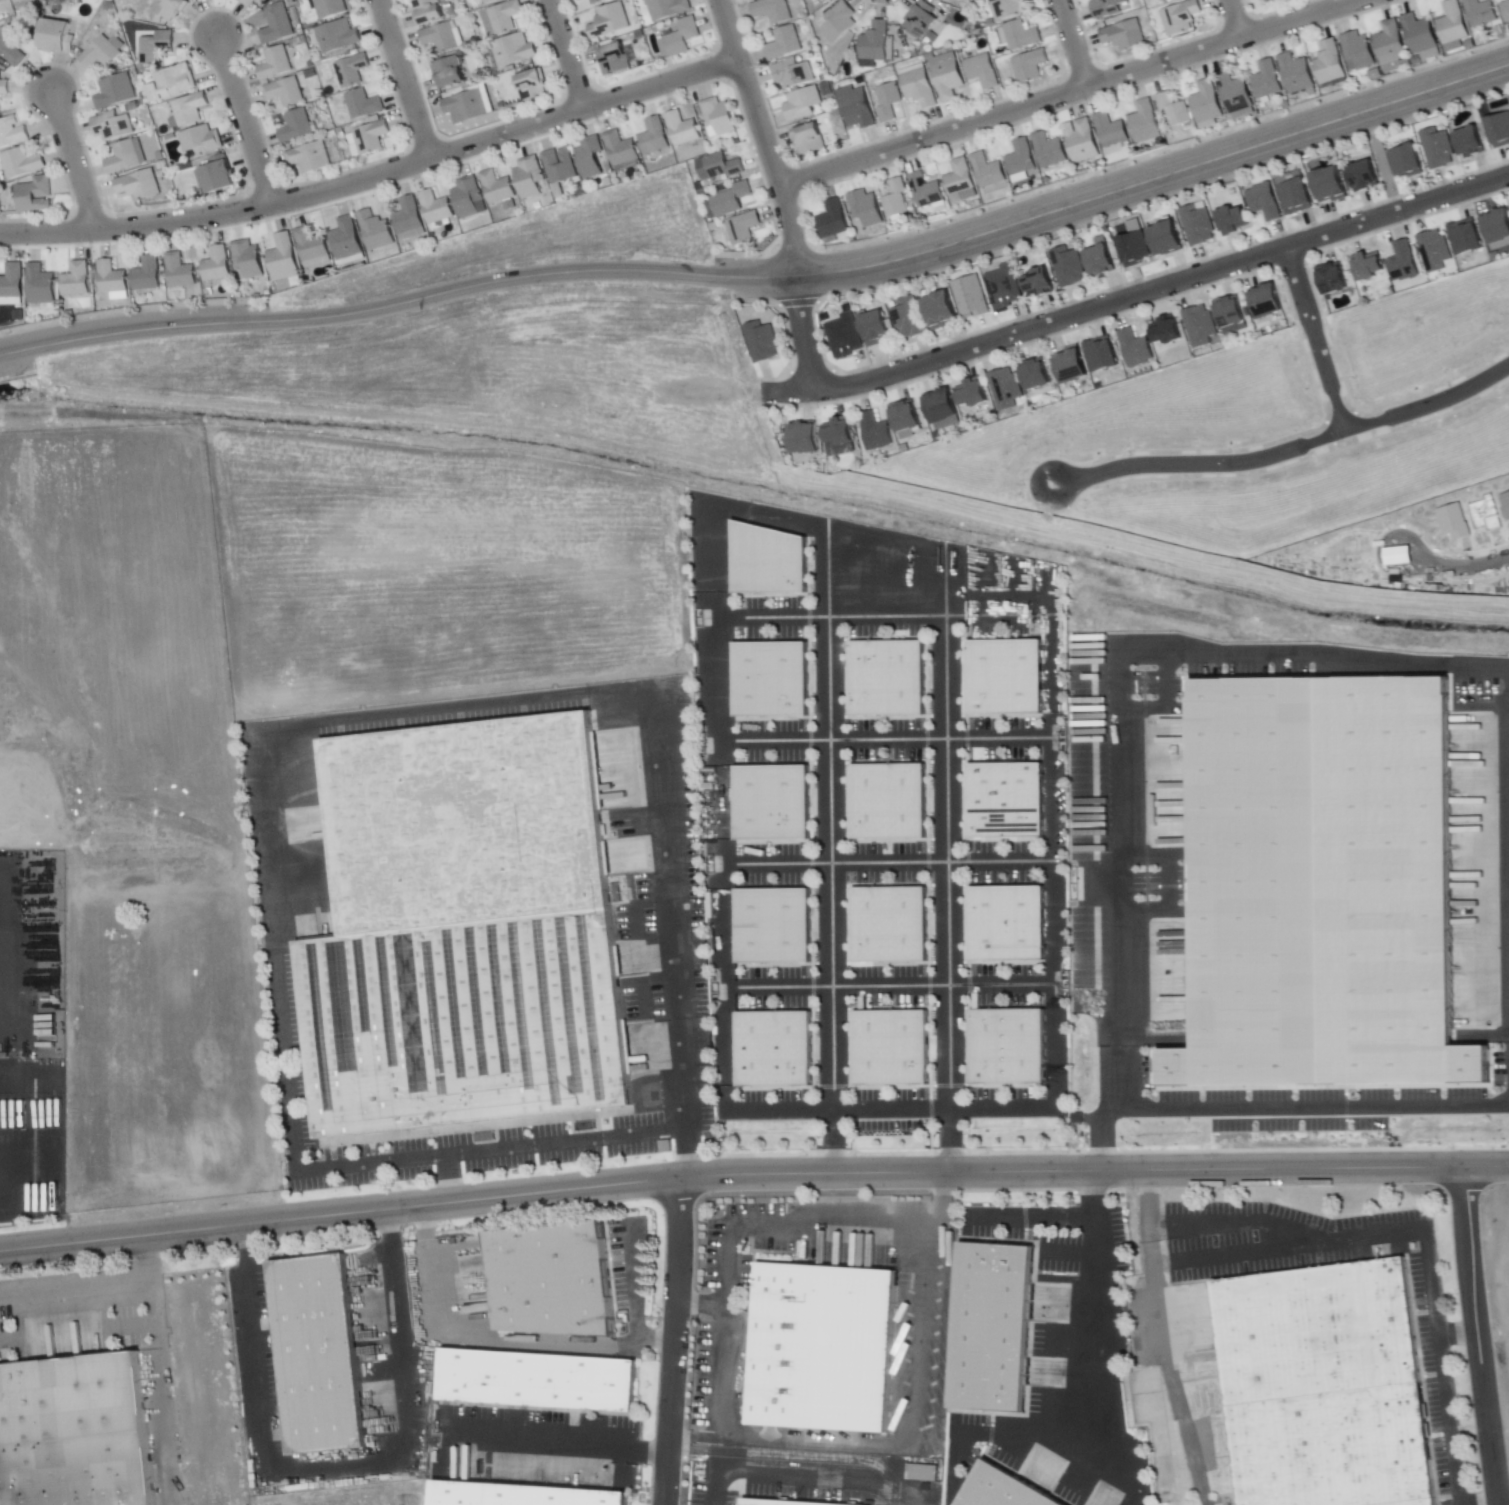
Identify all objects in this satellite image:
building: (810, 0)
building: (1163, 0)
building: (1274, 0)
building: (18, 1)
building: (957, 1)
building: (1168, 1)
building: (1281, 1)
building: (490, 2)
building: (598, 2)
building: (247, 3)
building: (332, 8)
building: (667, 8)
building: (1106, 8)
building: (1008, 9)
building: (1506, 10)
building: (166, 11)
building: (771, 11)
building: (426, 12)
building: (1480, 13)
building: (503, 17)
building: (1180, 18)
road: (1235, 19)
building: (608, 21)
building: (922, 21)
building: (839, 22)
building: (1453, 24)
building: (277, 28)
building: (1419, 35)
building: (1020, 36)
building: (1124, 36)
building: (338, 37)
building: (682, 37)
building: (439, 38)
building: (55, 39)
building: (875, 42)
building: (783, 44)
road: (1073, 44)
building: (1391, 44)
building: (11, 46)
building: (155, 48)
building: (1358, 50)
building: (512, 51)
building: (102, 52)
road: (567, 55)
building: (613, 60)
building: (1330, 64)
building: (274, 65)
building: (1029, 66)
building: (351, 70)
building: (981, 72)
building: (448, 74)
building: (791, 74)
building: (1296, 74)
road: (404, 79)
building: (947, 79)
building: (1266, 81)
building: (174, 82)
building: (530, 86)
building: (4, 88)
building: (919, 89)
building: (114, 92)
building: (284, 92)
road: (1070, 93)
building: (1235, 95)
building: (888, 102)
building: (801, 104)
building: (363, 105)
building: (1206, 106)
building: (465, 107)
building: (857, 110)
building: (1173, 110)
building: (186, 112)
building: (718, 116)
road: (245, 121)
building: (1144, 123)
building: (111, 127)
building: (295, 127)
building: (682, 129)
building: (1110, 131)
building: (1500, 131)
building: (11, 133)
building: (371, 138)
building: (653, 138)
building: (809, 141)
building: (200, 142)
building: (1081, 143)
building: (1470, 144)
building: (1437, 149)
building: (620, 150)
building: (1050, 152)
building: (589, 157)
building: (125, 158)
building: (309, 158)
building: (1021, 159)
road: (72, 162)
building: (1406, 163)
building: (21, 164)
building: (559, 166)
building: (723, 166)
building: (987, 171)
road: (375, 176)
building: (529, 177)
building: (1363, 177)
building: (215, 178)
building: (959, 179)
building: (138, 186)
building: (1330, 187)
building: (497, 188)
road: (1121, 190)
building: (926, 191)
road: (782, 192)
building: (34, 196)
building: (467, 198)
building: (1297, 198)
building: (896, 199)
building: (730, 201)
building: (1264, 202)
building: (435, 208)
building: (866, 209)
building: (407, 217)
building: (833, 221)
building: (1232, 222)
building: (1197, 226)
building: (743, 229)
building: (1497, 229)
building: (375, 232)
building: (1466, 238)
building: (346, 240)
building: (1167, 242)
building: (310, 245)
building: (1135, 251)
building: (1435, 251)
building: (282, 257)
building: (248, 259)
building: (1403, 262)
building: (1101, 263)
building: (216, 264)
building: (1069, 268)
building: (1369, 270)
building: (180, 272)
building: (148, 275)
building: (109, 278)
building: (75, 281)
road: (495, 281)
building: (1333, 281)
building: (11, 282)
building: (1038, 284)
building: (1001, 285)
building: (39, 286)
road: (1138, 295)
building: (968, 296)
building: (1267, 304)
building: (940, 312)
building: (1231, 317)
building: (908, 320)
building: (1201, 327)
road: (147, 330)
building: (875, 330)
building: (1167, 333)
building: (842, 335)
road: (1314, 336)
building: (761, 343)
building: (1136, 350)
road: (15, 352)
building: (1102, 357)
building: (1072, 371)
building: (1036, 380)
building: (1006, 390)
building: (973, 399)
building: (941, 411)
building: (906, 422)
building: (875, 434)
building: (804, 440)
building: (838, 440)
road: (1287, 450)
building: (1505, 503)
building: (1482, 513)
building: (1451, 521)
building: (1395, 555)
building: (767, 561)
road: (1452, 568)
road: (769, 617)
building: (1007, 676)
building: (773, 678)
building: (890, 678)
road: (1115, 685)
road: (251, 734)
road: (998, 738)
road: (830, 739)
building: (774, 800)
building: (891, 800)
building: (1006, 800)
road: (827, 822)
road: (716, 831)
road: (1050, 860)
road: (945, 861)
road: (884, 863)
building: (1319, 885)
building: (1008, 921)
building: (892, 923)
building: (776, 925)
building: (459, 930)
road: (886, 985)
building: (1010, 1045)
building: (777, 1047)
building: (893, 1047)
road: (1275, 1105)
road: (948, 1139)
road: (690, 1151)
road: (752, 1175)
road: (447, 1180)
road: (1362, 1229)
building: (543, 1275)
road: (634, 1282)
road: (73, 1285)
road: (1092, 1307)
building: (988, 1323)
road: (1479, 1336)
road: (495, 1340)
road: (1159, 1340)
road: (675, 1342)
building: (816, 1343)
building: (308, 1347)
road: (156, 1370)
building: (528, 1376)
building: (1320, 1385)
building: (69, 1430)
road: (743, 1434)
road: (1448, 1439)
road: (554, 1447)
road: (796, 1469)
road: (332, 1470)
road: (1503, 1482)
building: (994, 1488)
building: (513, 1492)
building: (787, 1501)

